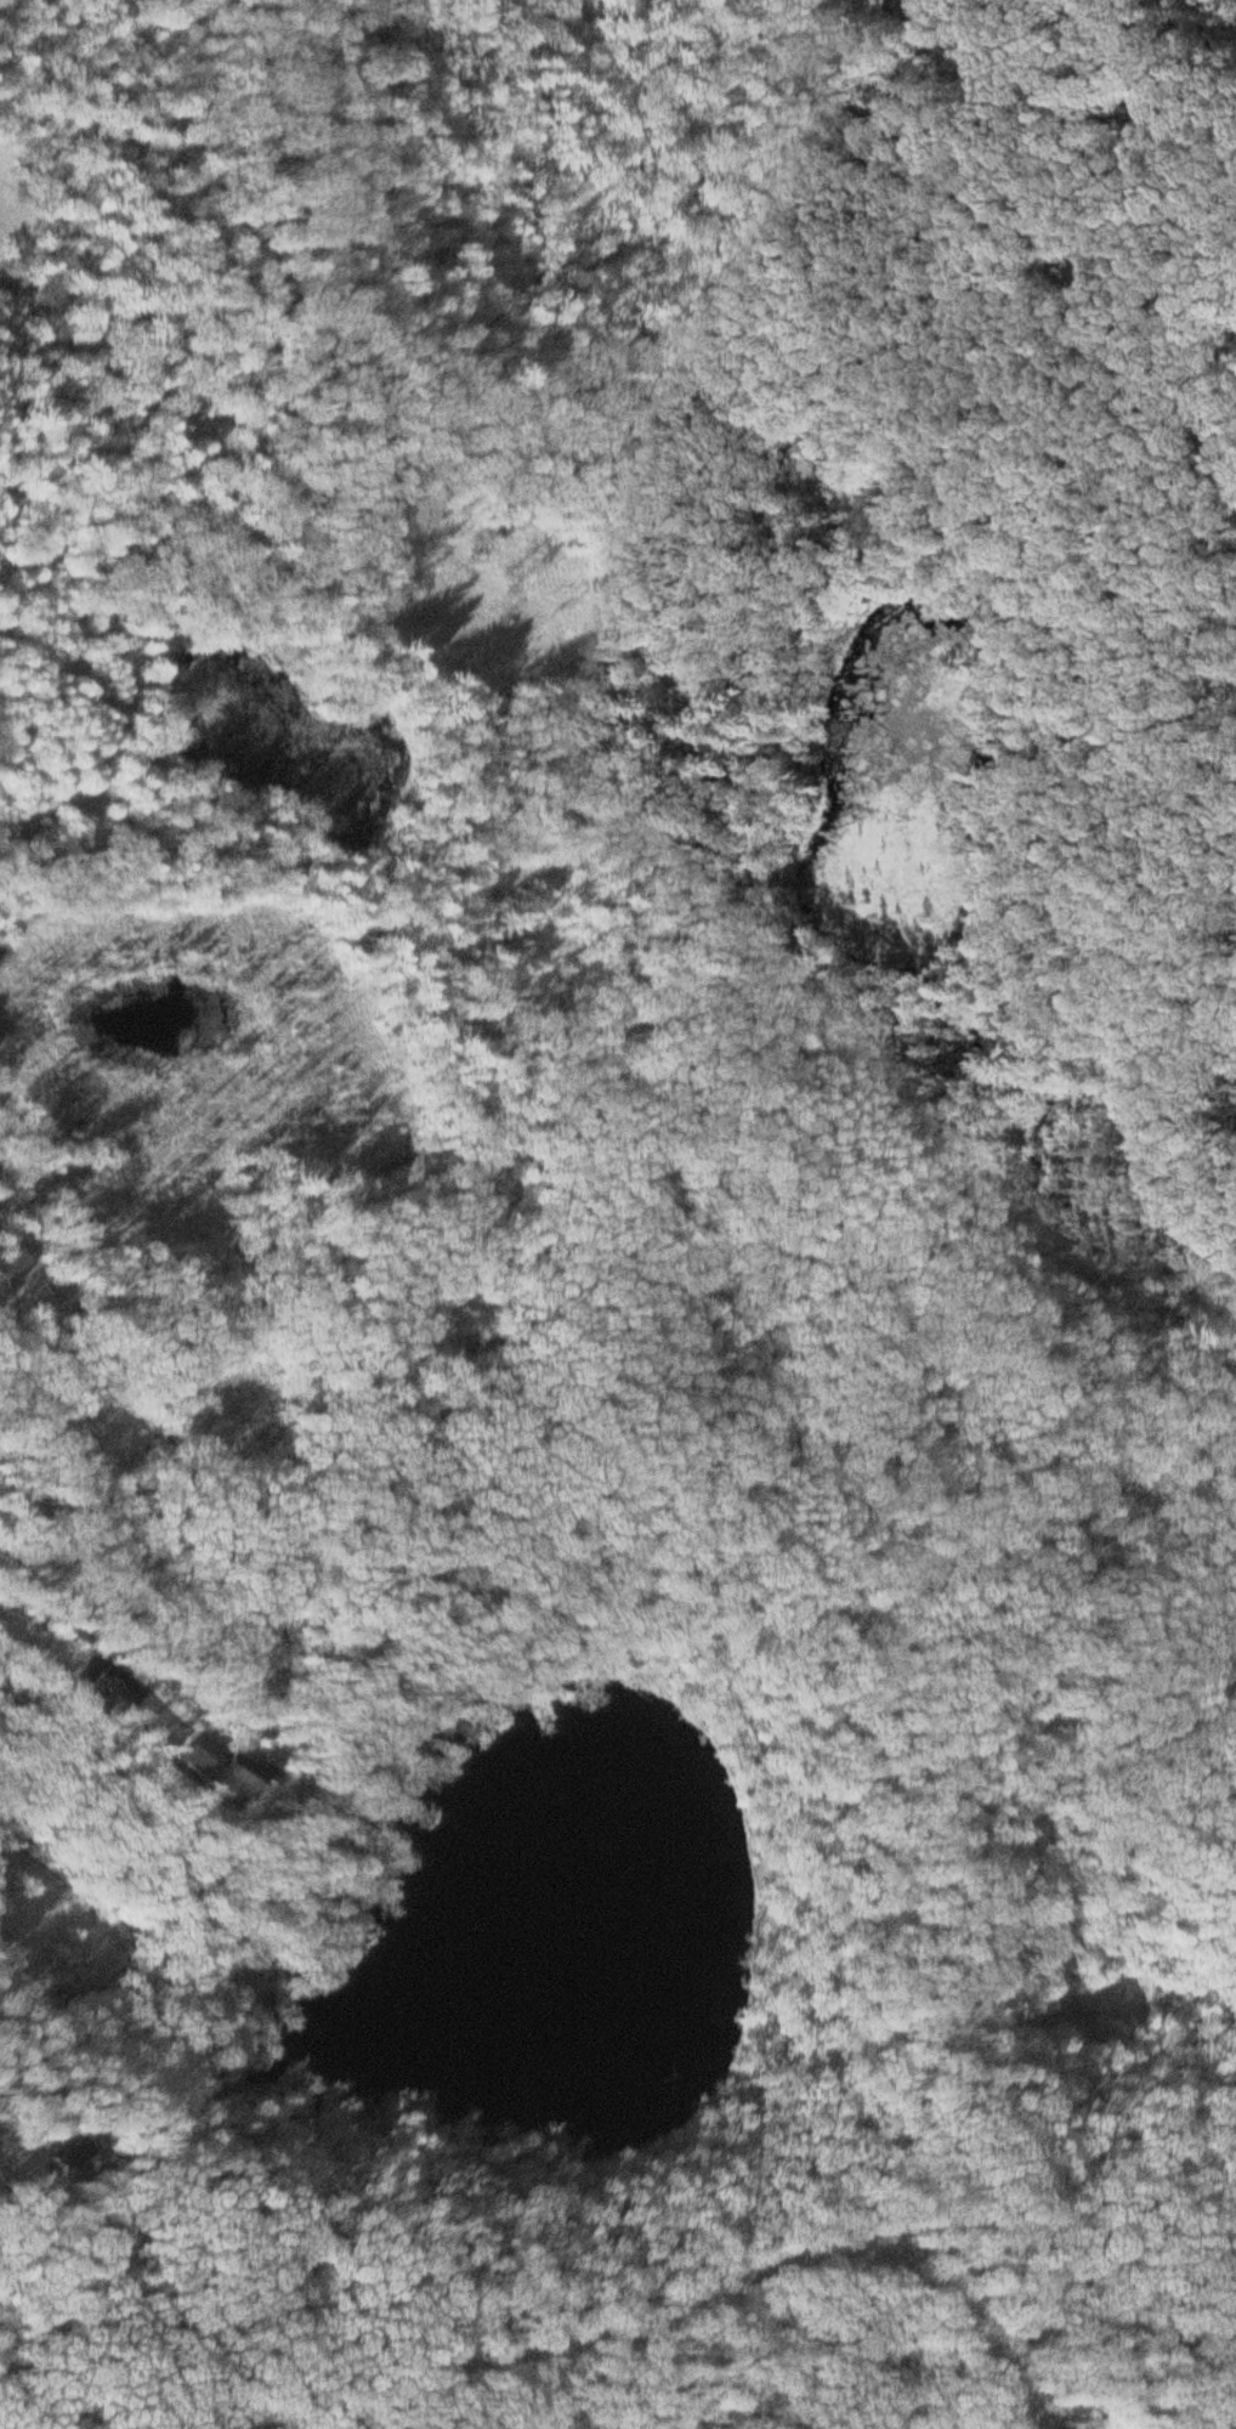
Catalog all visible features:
building: (15, 1266)
building: (240, 1778)
road: (895, 1915)

